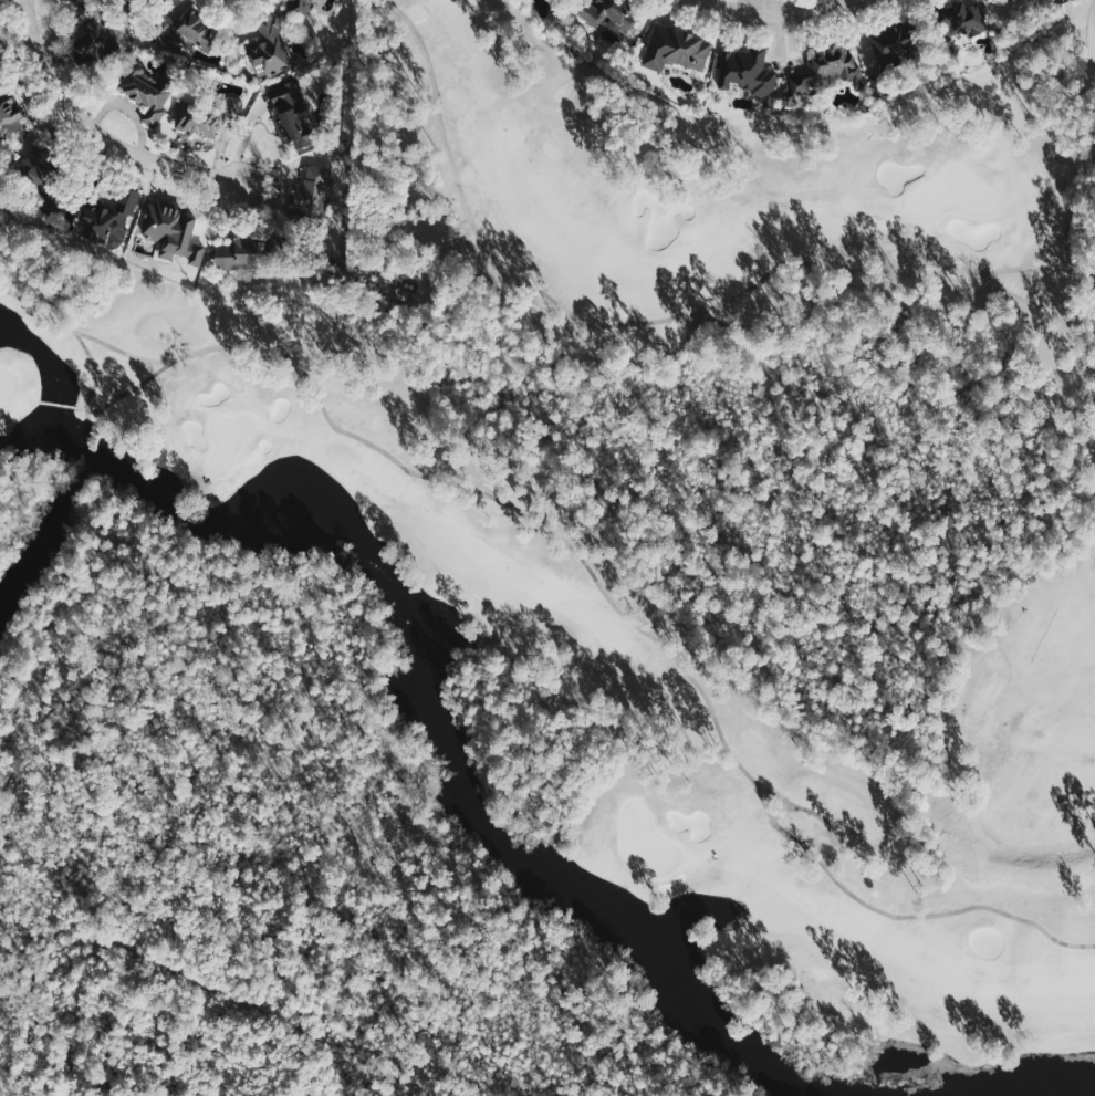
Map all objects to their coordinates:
building: (75, 0)
building: (298, 4)
road: (774, 9)
building: (612, 15)
building: (961, 19)
road: (1093, 32)
building: (184, 33)
building: (894, 44)
building: (270, 48)
building: (676, 49)
building: (748, 73)
building: (146, 93)
building: (9, 114)
building: (291, 115)
road: (95, 131)
building: (34, 175)
building: (312, 191)
park: (951, 194)
building: (103, 219)
building: (173, 229)
building: (236, 254)
road: (651, 320)
park: (6, 385)
road: (59, 404)
road: (92, 408)
building: (133, 411)
park: (227, 438)
park: (699, 511)
road: (587, 567)
park: (645, 838)

